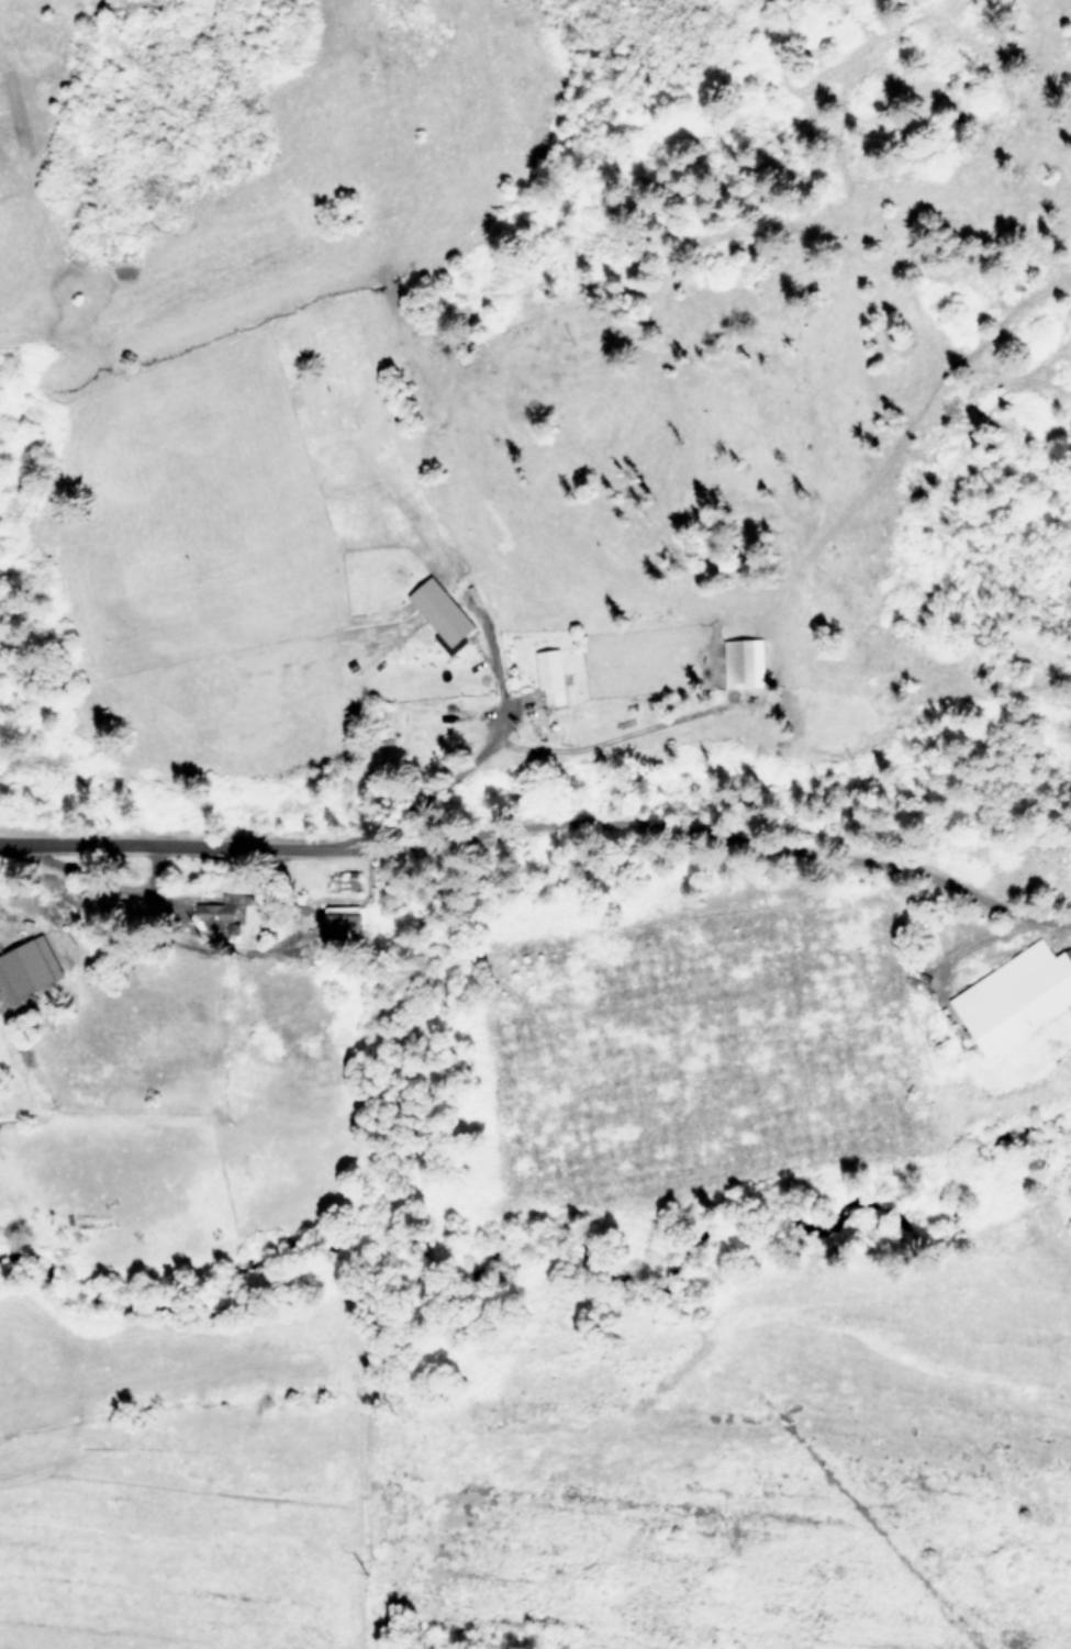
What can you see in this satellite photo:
building: (443, 610)
building: (746, 661)
building: (551, 673)
road: (499, 686)
road: (606, 739)
road: (727, 831)
road: (258, 845)
building: (210, 921)
building: (343, 925)
building: (29, 968)
building: (1015, 995)
crop: (566, 1467)

